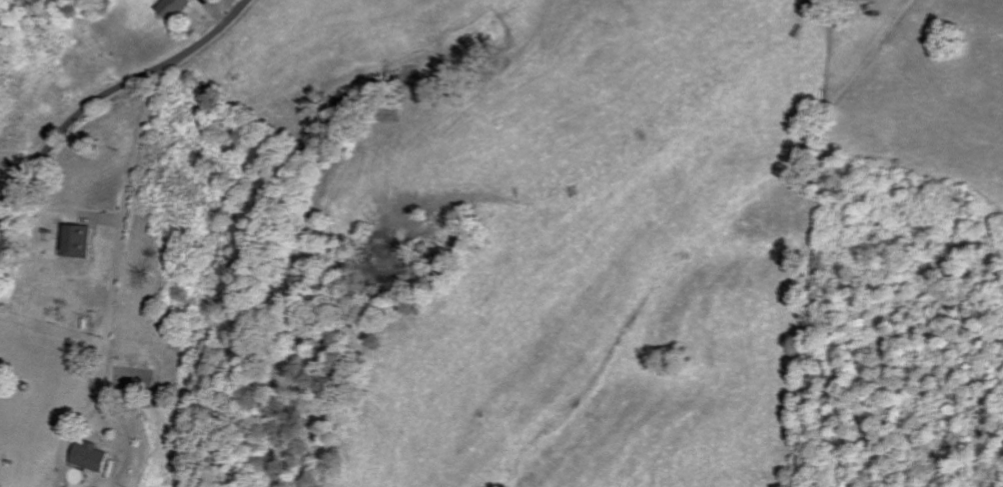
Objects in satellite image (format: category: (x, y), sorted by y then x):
building: (173, 8)
road: (100, 100)
building: (77, 241)
road: (116, 246)
building: (95, 457)

